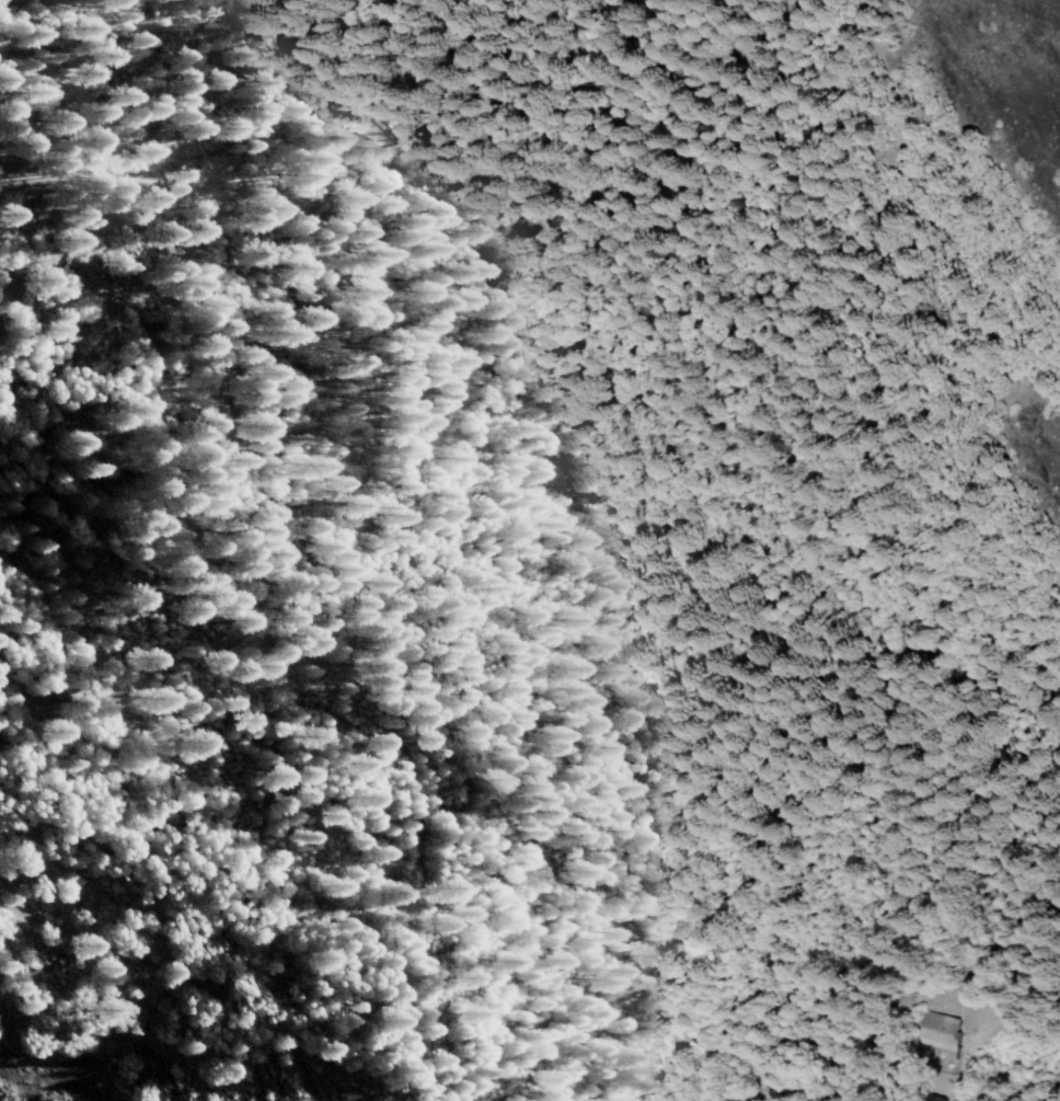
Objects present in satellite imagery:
road: (741, 926)
road: (180, 976)
building: (938, 1031)

